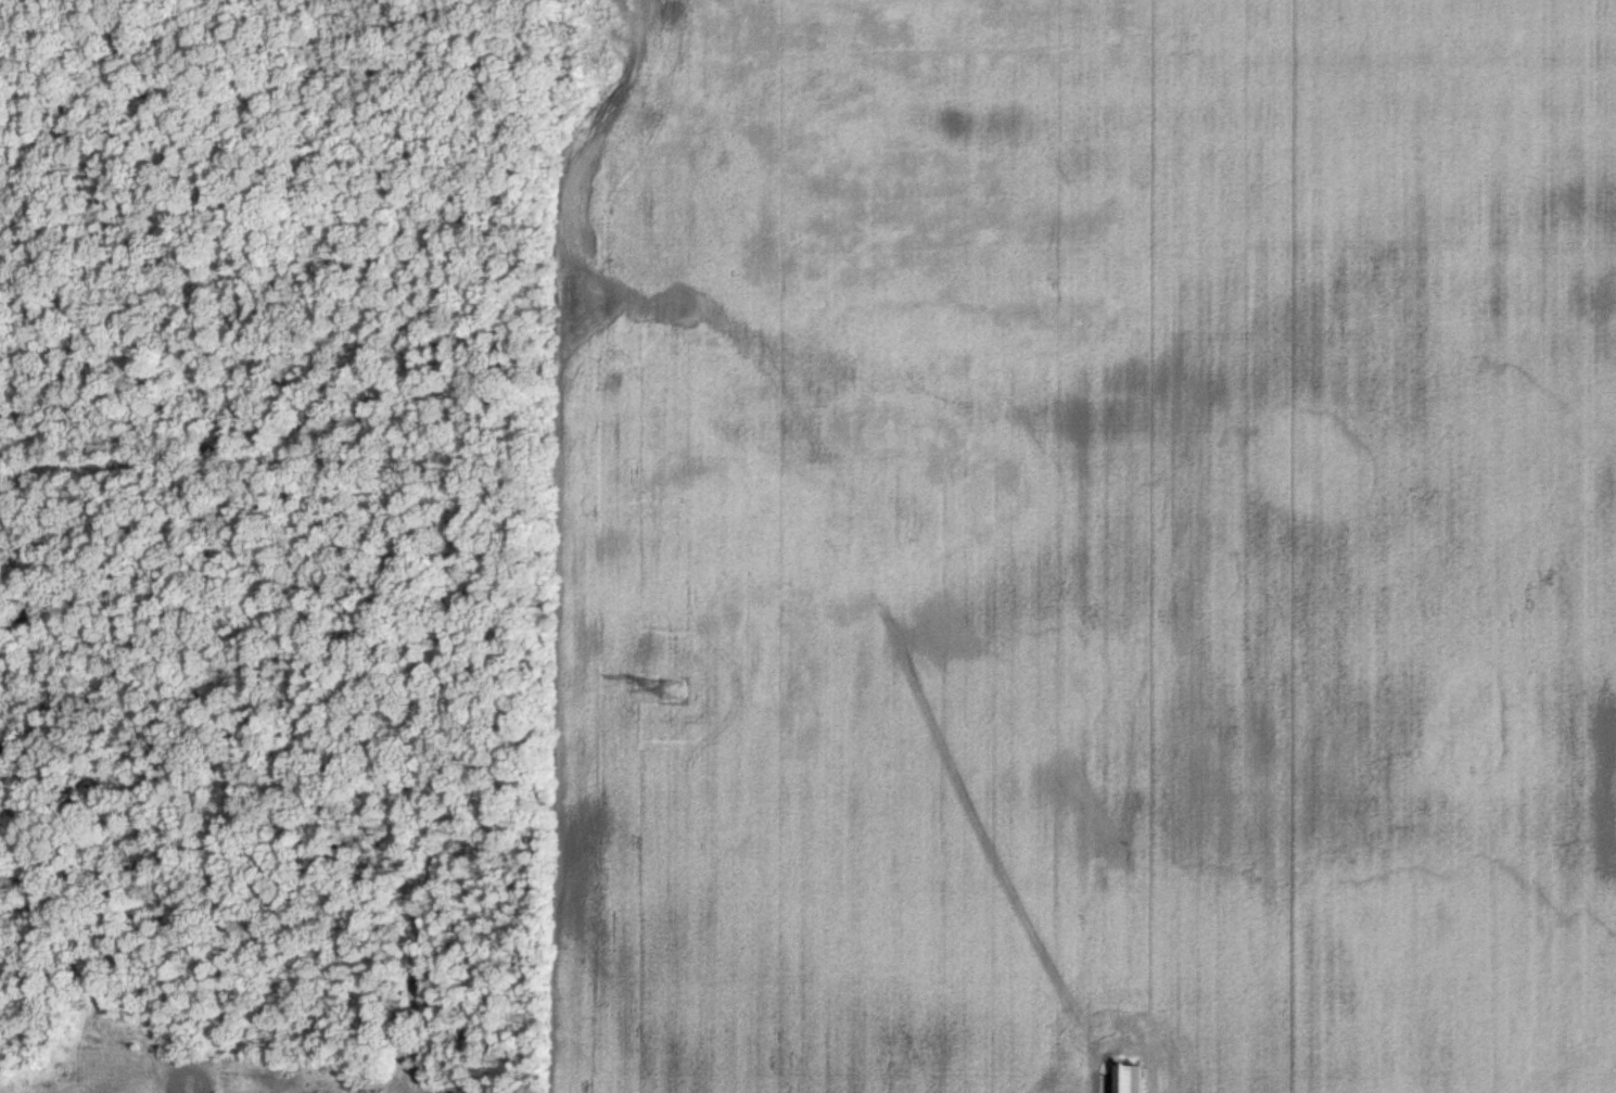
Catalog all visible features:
power tower: (674, 690)
building: (1130, 1079)

